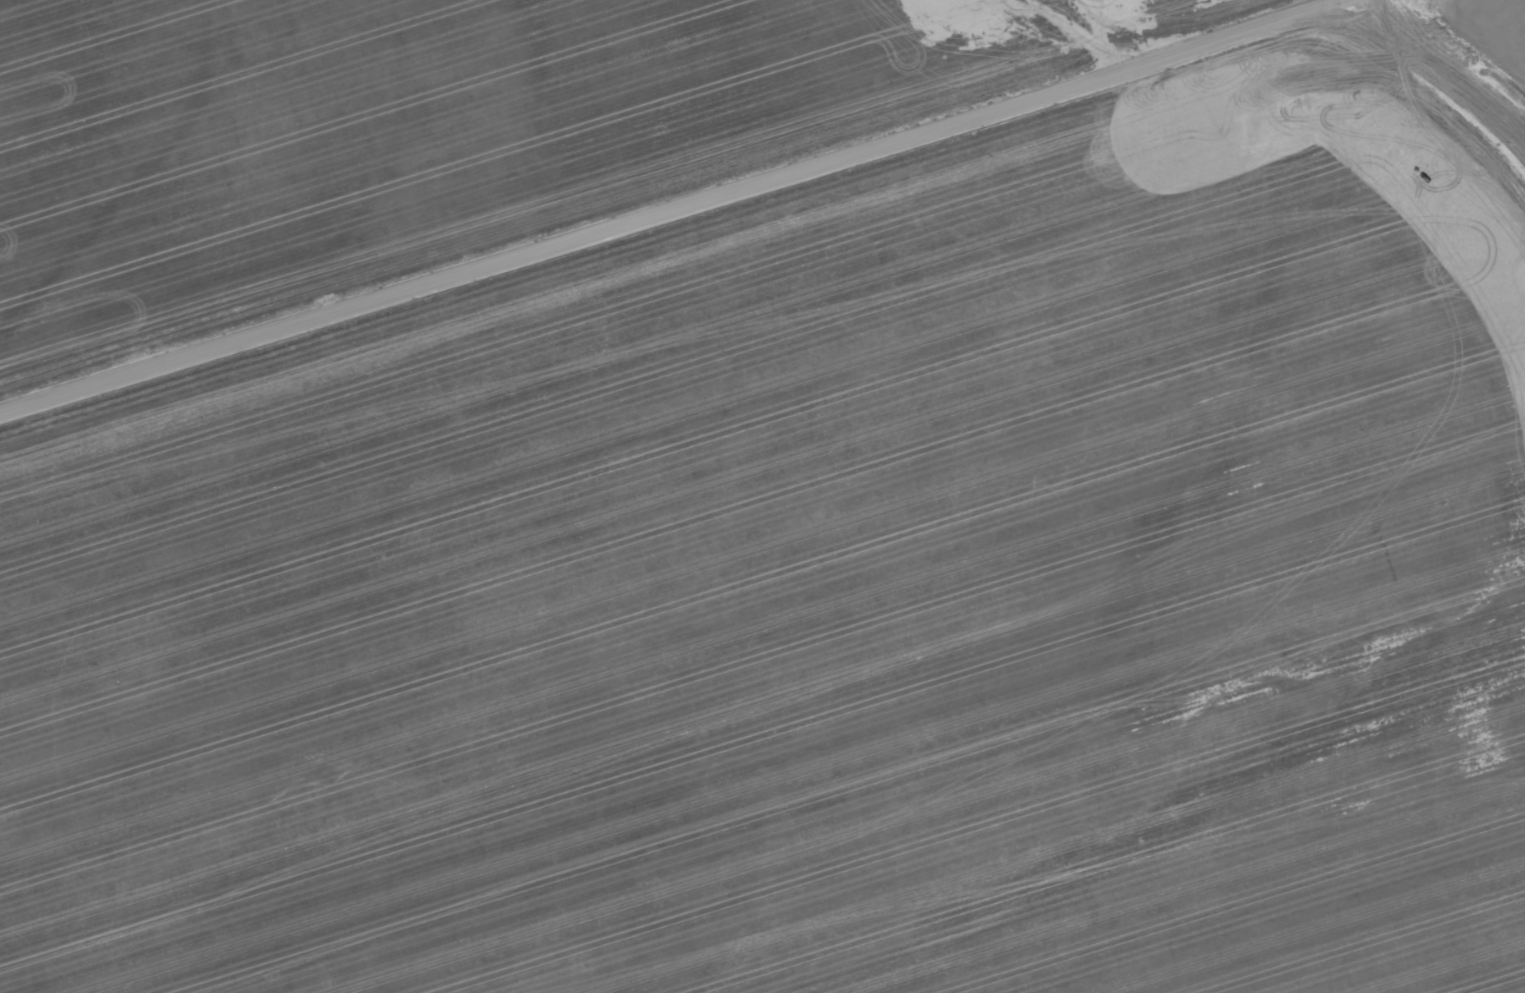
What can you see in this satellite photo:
road: (668, 205)

